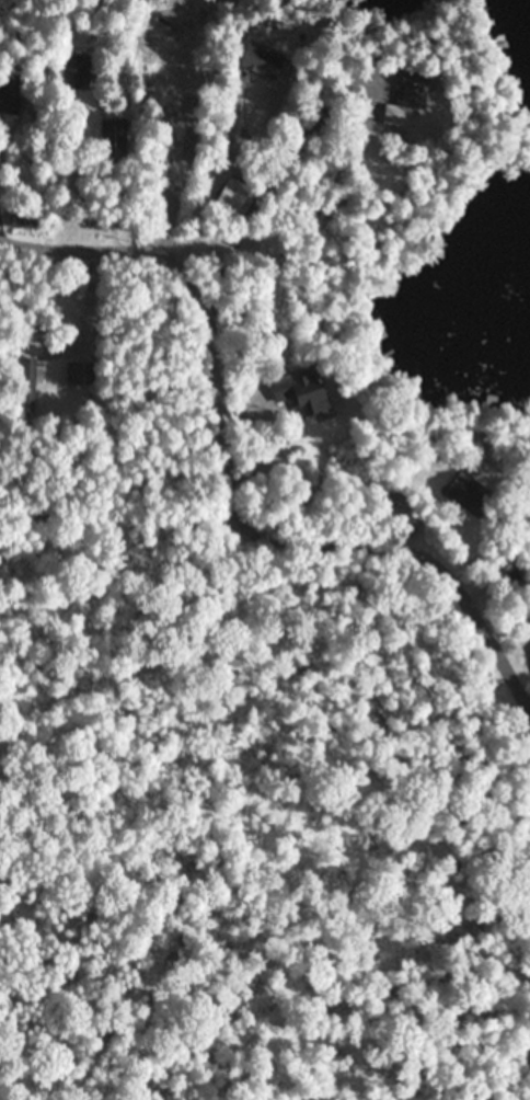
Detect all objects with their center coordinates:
building: (153, 39)
building: (262, 59)
building: (76, 70)
building: (11, 95)
building: (407, 95)
building: (114, 137)
building: (234, 194)
road: (277, 293)
building: (80, 373)
building: (26, 386)
building: (302, 391)
road: (232, 478)
building: (471, 495)
building: (399, 501)

